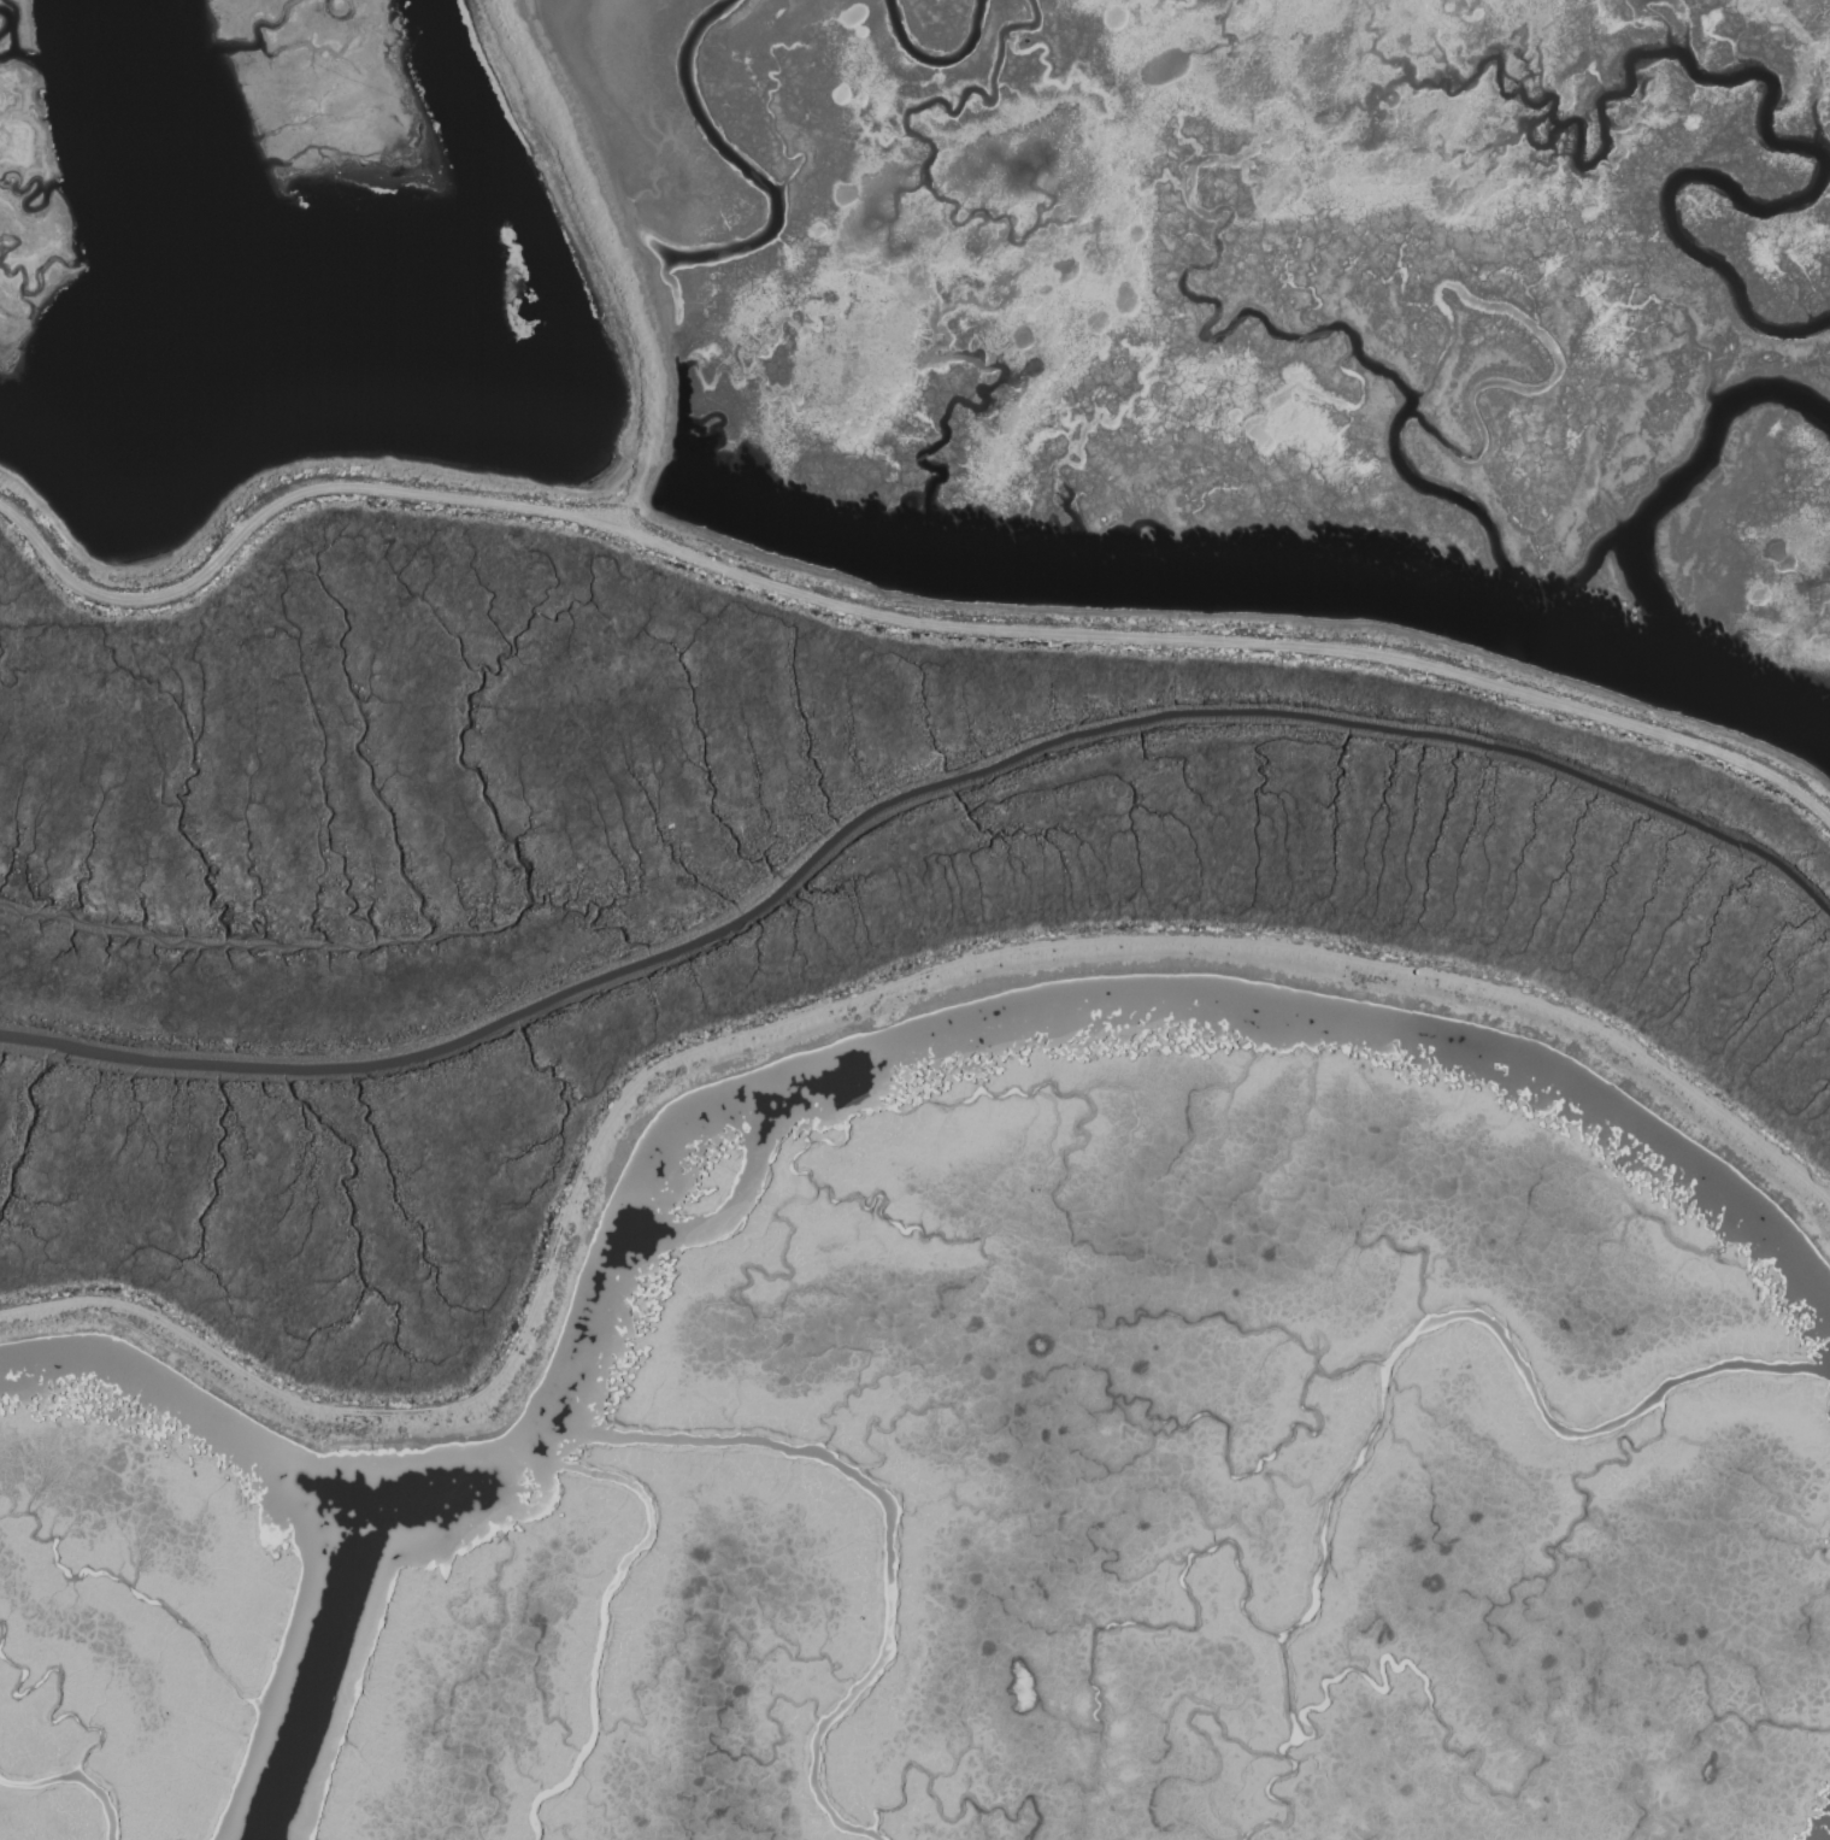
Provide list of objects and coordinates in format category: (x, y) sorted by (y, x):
road: (884, 616)
road: (838, 1016)

